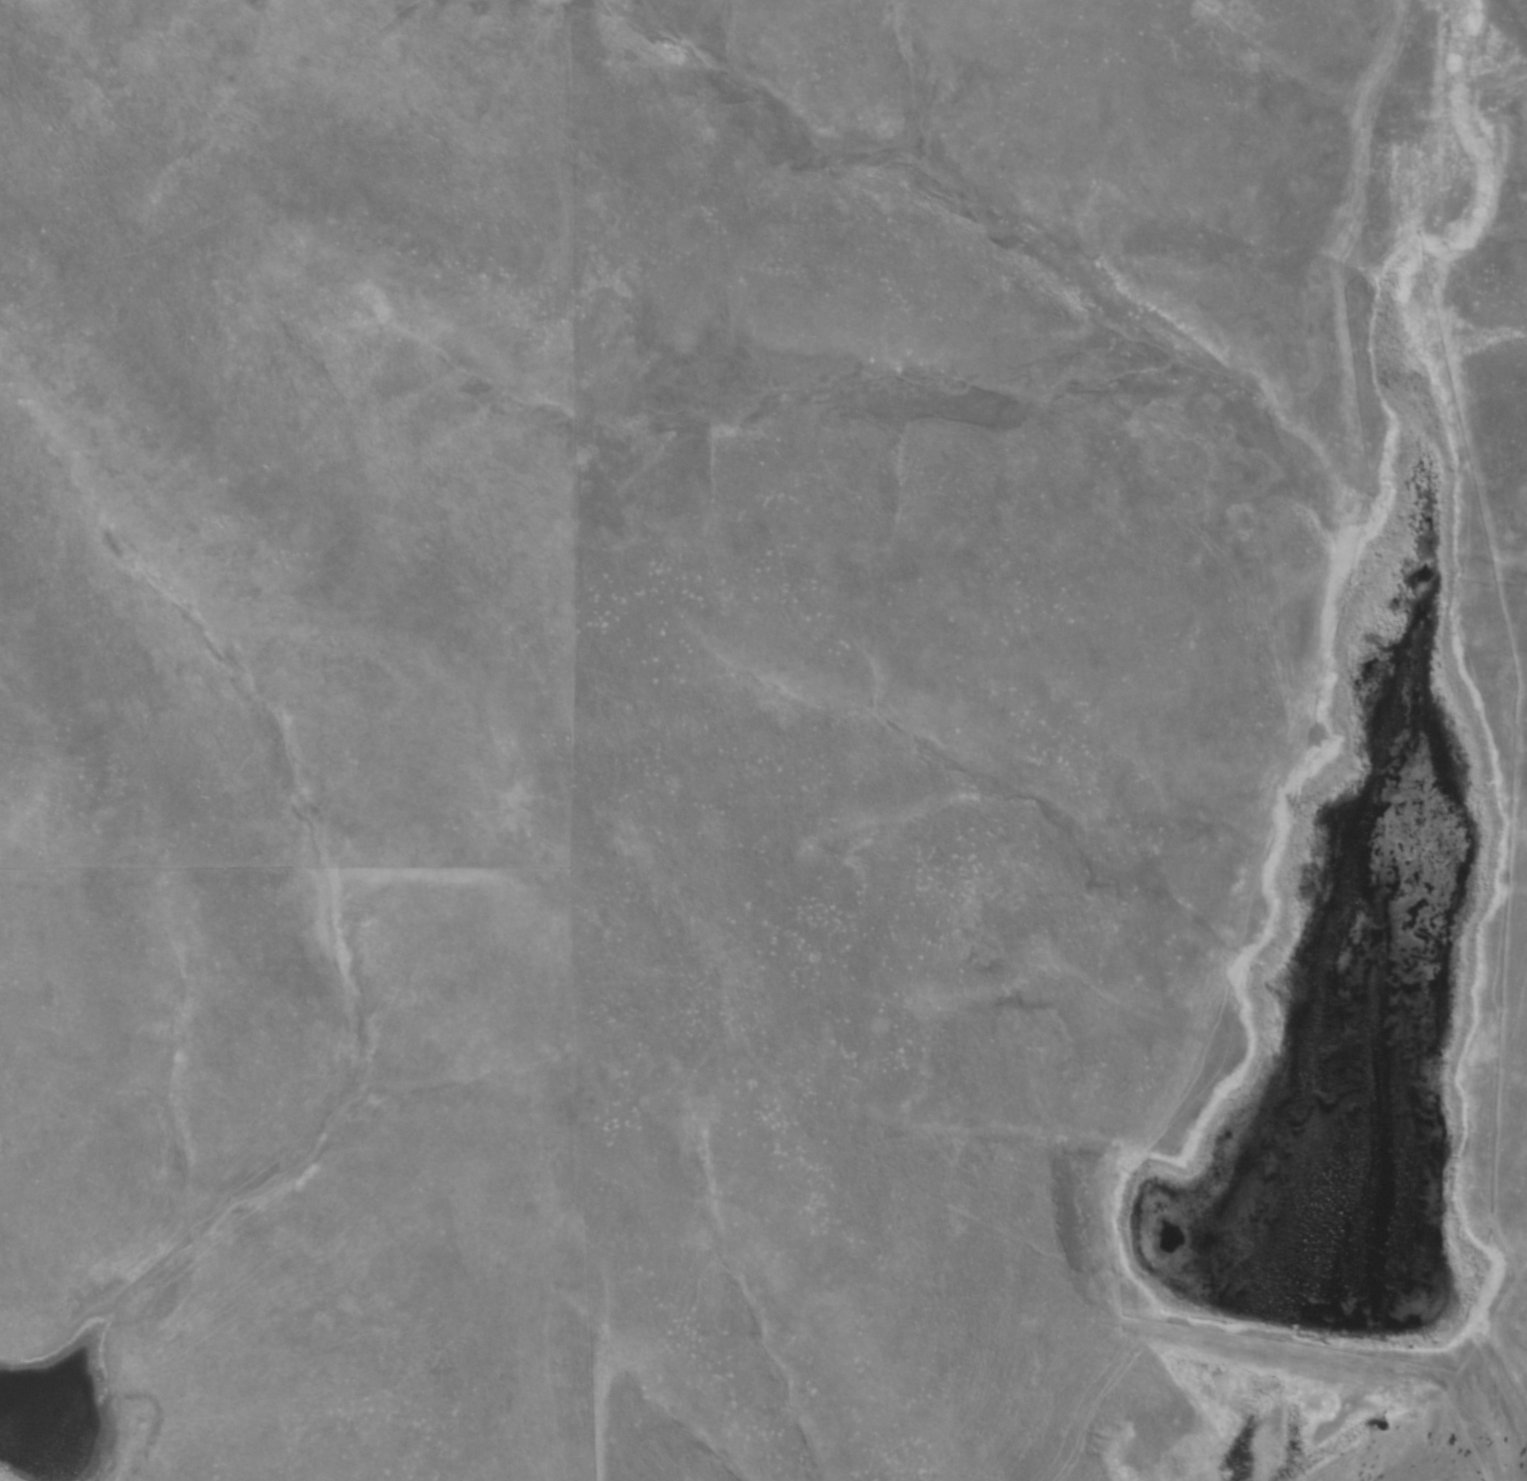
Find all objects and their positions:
road: (1462, 1462)

